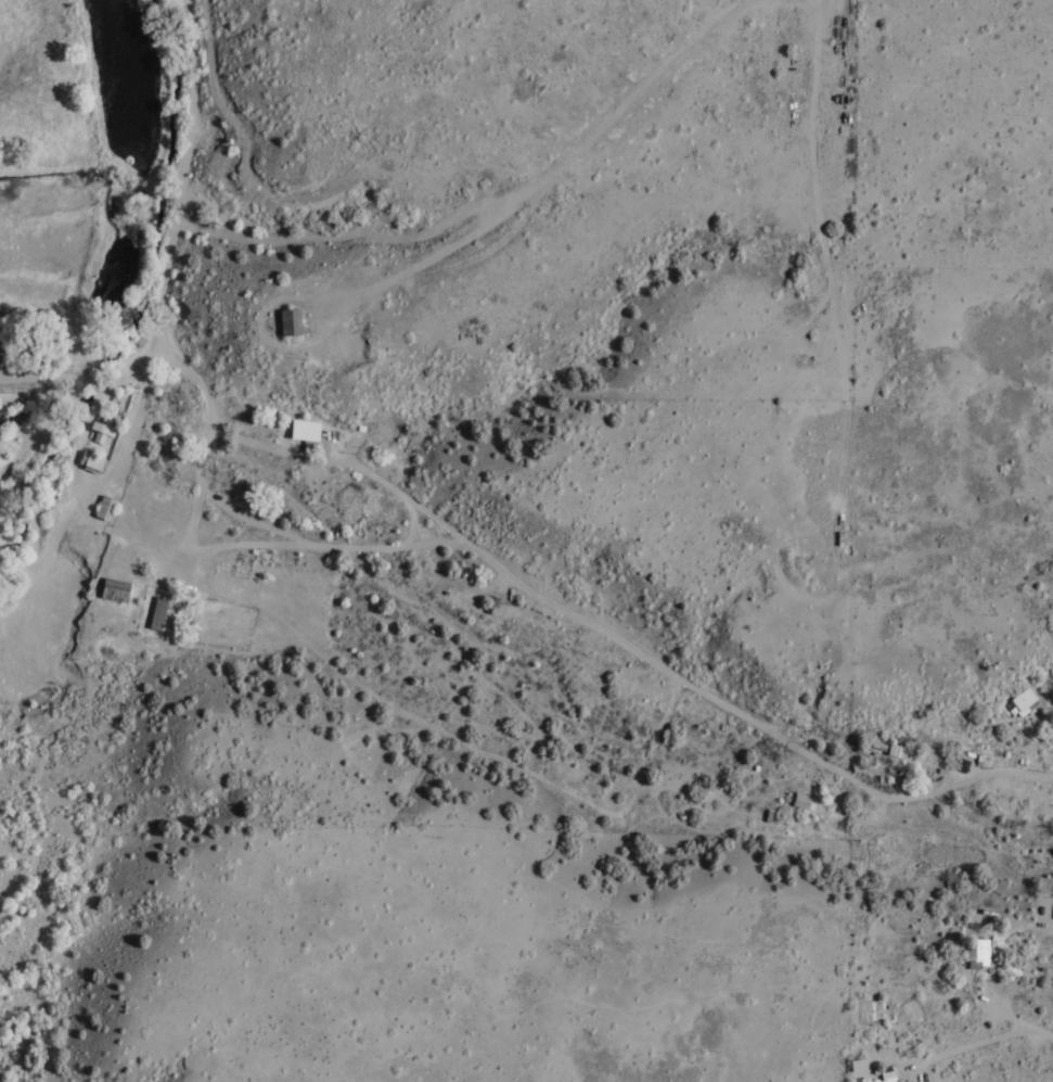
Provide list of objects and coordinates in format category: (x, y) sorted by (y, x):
building: (287, 323)
building: (104, 421)
building: (303, 431)
building: (99, 433)
building: (103, 508)
building: (112, 590)
building: (160, 615)
road: (587, 621)
building: (1022, 702)
building: (801, 802)
building: (998, 887)
building: (976, 955)
building: (856, 1066)
building: (884, 1077)

